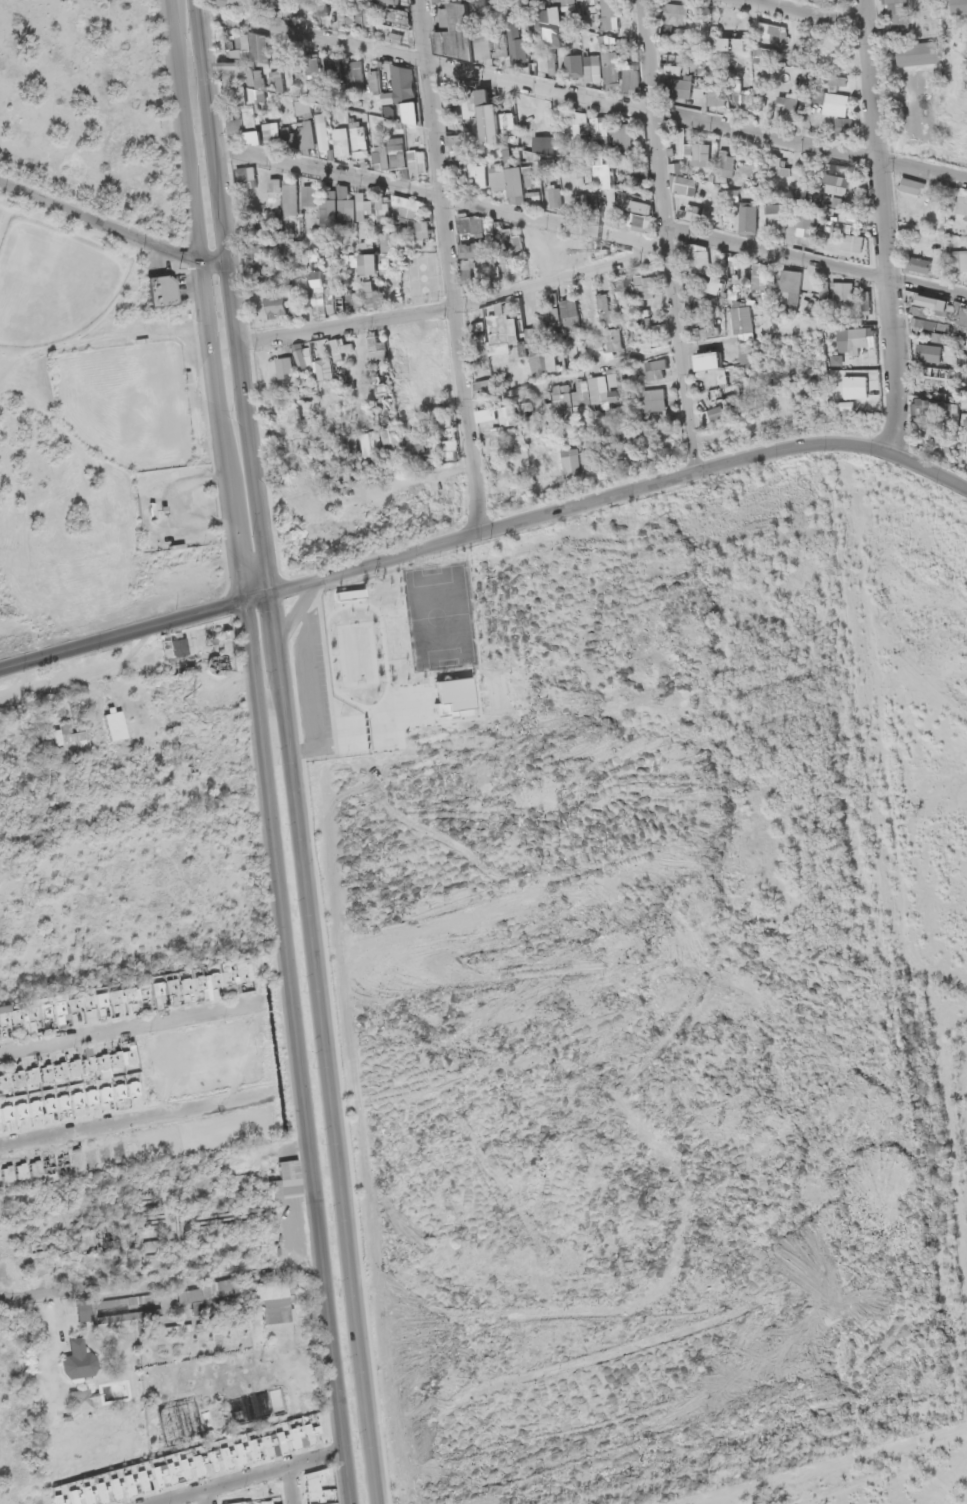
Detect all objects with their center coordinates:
building: (958, 4)
road: (808, 11)
building: (916, 49)
road: (535, 85)
road: (920, 169)
building: (833, 184)
road: (439, 197)
road: (880, 230)
road: (664, 236)
road: (775, 252)
road: (926, 288)
road: (447, 306)
road: (593, 369)
road: (485, 533)

